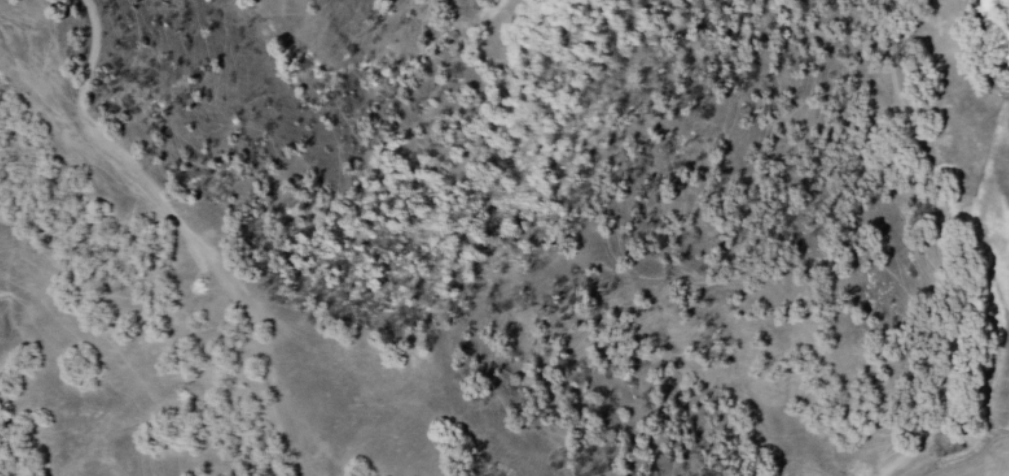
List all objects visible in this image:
road: (182, 234)

